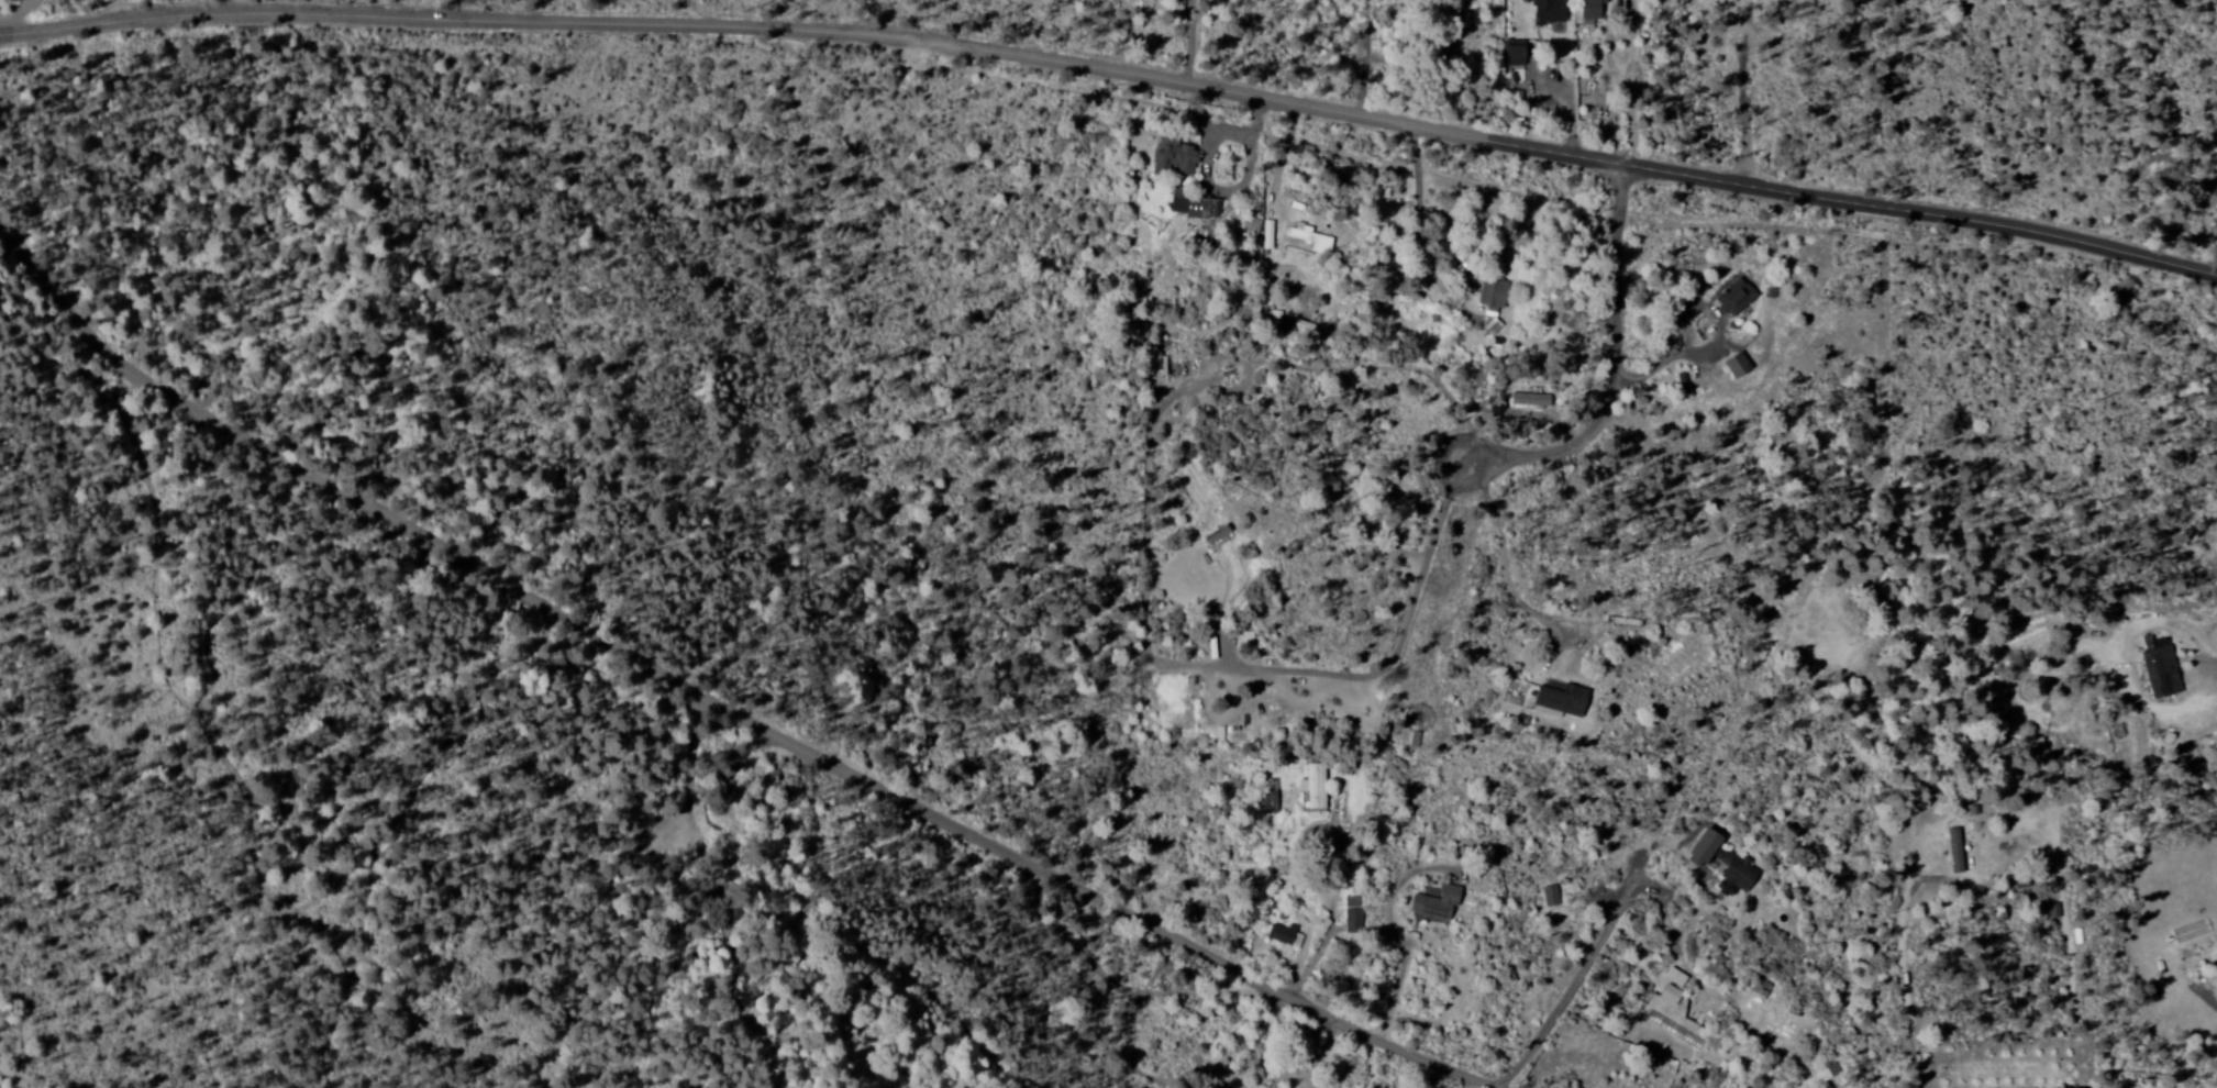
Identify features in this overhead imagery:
building: (1586, 9)
building: (1544, 11)
road: (20, 18)
building: (1508, 52)
road: (1116, 76)
building: (1172, 156)
building: (1190, 206)
building: (1306, 237)
building: (1488, 293)
building: (1732, 297)
building: (1732, 364)
building: (1526, 398)
road: (190, 413)
road: (1139, 482)
building: (2155, 668)
building: (1558, 699)
road: (687, 768)
building: (1264, 795)
road: (913, 812)
building: (1697, 844)
building: (1950, 848)
building: (1729, 870)
building: (1545, 895)
building: (1431, 901)
building: (2050, 909)
building: (1349, 912)
building: (1279, 934)
building: (1671, 976)
road: (1101, 979)
building: (1665, 993)
road: (1310, 1017)
building: (1825, 1072)

